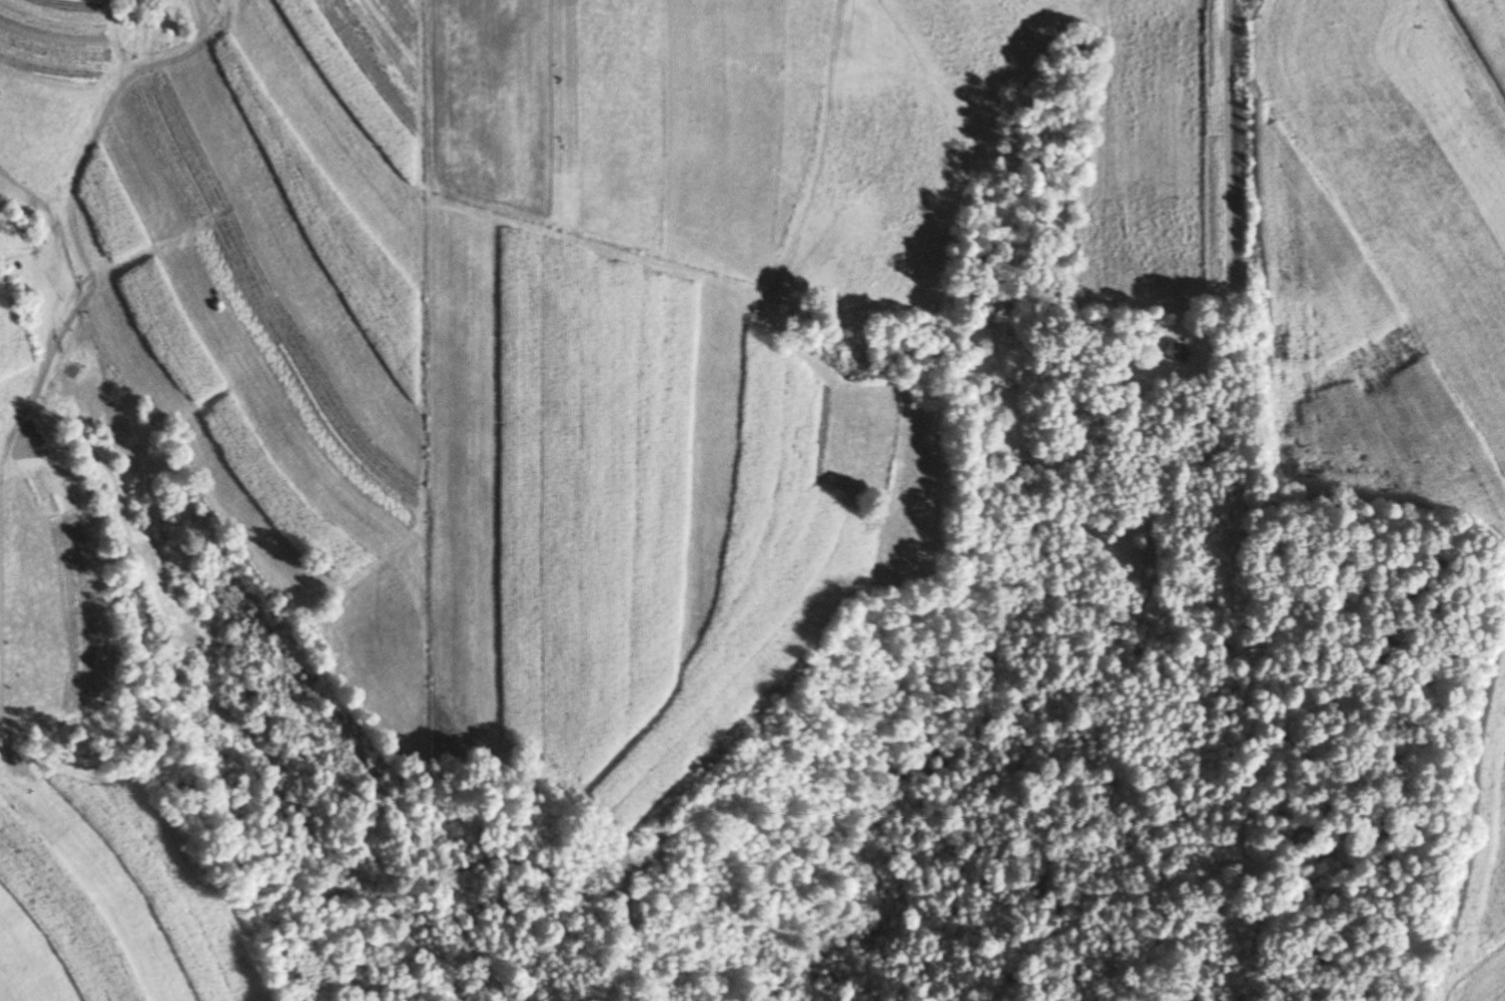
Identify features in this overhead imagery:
crop: (1482, 37)
crop: (46, 76)
crop: (796, 114)
crop: (902, 142)
crop: (5, 221)
crop: (281, 304)
crop: (1385, 304)
building: (1172, 351)
crop: (626, 393)
crop: (39, 558)
crop: (102, 900)
crop: (1487, 986)

